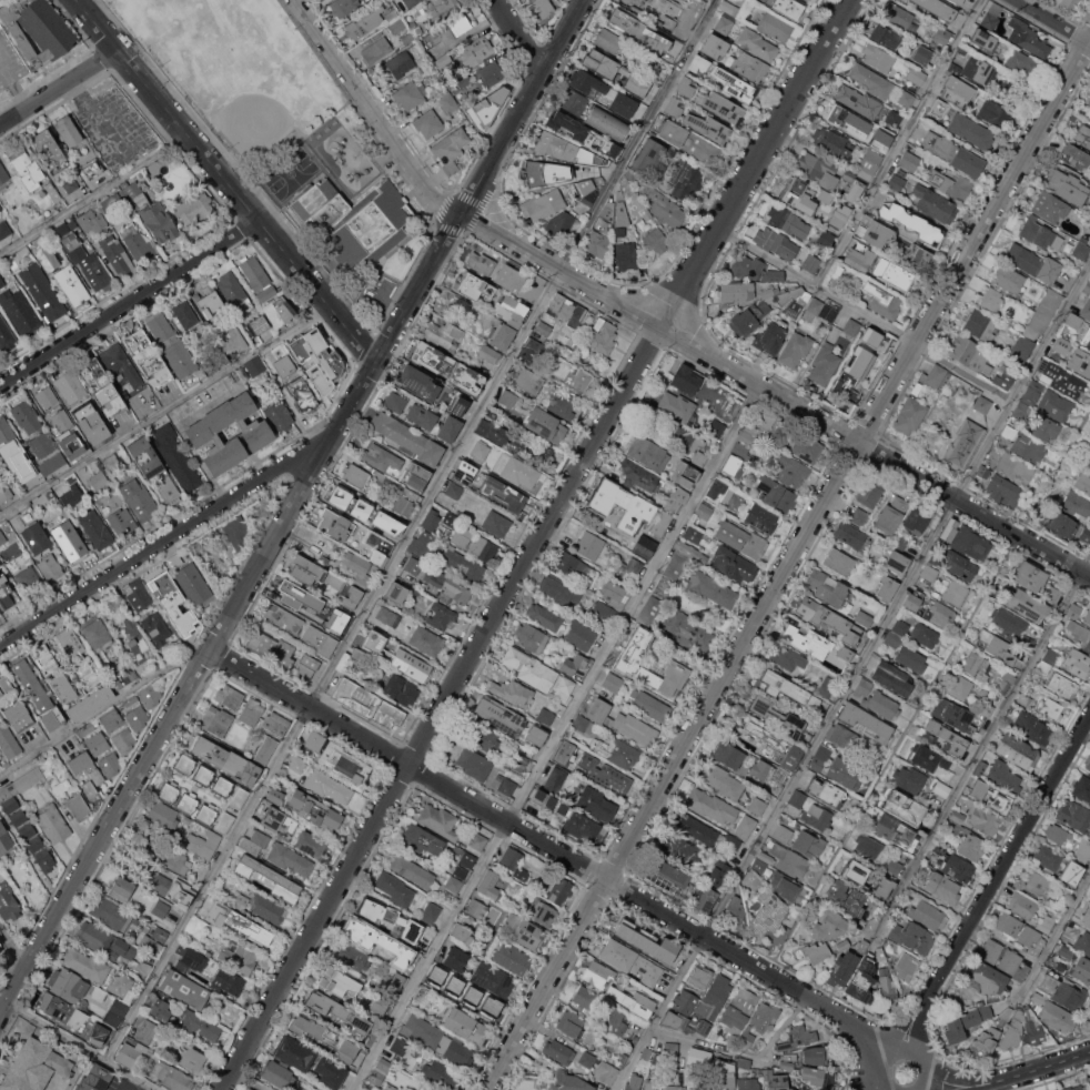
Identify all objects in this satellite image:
building: (373, 0)
building: (957, 1)
building: (410, 2)
building: (1068, 3)
building: (343, 7)
building: (542, 7)
building: (787, 7)
building: (435, 8)
building: (729, 8)
building: (937, 9)
building: (689, 10)
building: (392, 16)
building: (898, 16)
building: (667, 19)
building: (990, 20)
road: (1053, 20)
building: (364, 21)
building: (724, 23)
building: (774, 27)
building: (418, 29)
building: (36, 30)
building: (638, 30)
building: (401, 31)
building: (446, 31)
building: (941, 34)
road: (517, 36)
building: (885, 36)
building: (1028, 38)
building: (608, 40)
building: (983, 41)
building: (715, 42)
building: (757, 43)
building: (962, 50)
building: (374, 51)
building: (476, 51)
building: (921, 54)
building: (878, 58)
building: (444, 60)
building: (639, 60)
building: (1022, 62)
building: (600, 63)
building: (397, 64)
building: (663, 64)
building: (698, 64)
building: (748, 67)
building: (953, 68)
building: (979, 71)
building: (492, 73)
building: (916, 75)
building: (464, 80)
building: (870, 80)
building: (586, 83)
road: (16, 84)
building: (733, 84)
road: (59, 87)
building: (685, 87)
building: (635, 88)
building: (957, 91)
building: (411, 94)
building: (983, 94)
building: (906, 98)
building: (859, 101)
building: (448, 102)
building: (573, 102)
building: (623, 104)
road: (521, 105)
building: (673, 107)
building: (721, 107)
building: (485, 110)
building: (1088, 110)
road: (374, 111)
building: (997, 113)
building: (839, 117)
building: (894, 118)
building: (607, 122)
building: (428, 123)
building: (963, 125)
building: (708, 127)
building: (68, 130)
park: (292, 134)
building: (887, 135)
building: (1082, 135)
building: (588, 137)
building: (829, 141)
building: (688, 142)
road: (898, 143)
building: (879, 148)
building: (46, 149)
building: (451, 149)
building: (565, 149)
building: (610, 149)
building: (955, 153)
building: (1073, 154)
building: (649, 160)
building: (909, 161)
building: (870, 162)
building: (27, 169)
building: (91, 170)
building: (818, 170)
building: (571, 172)
building: (901, 172)
building: (3, 174)
building: (594, 174)
building: (548, 175)
building: (1089, 176)
road: (226, 178)
building: (685, 179)
building: (855, 180)
building: (896, 182)
building: (70, 184)
building: (950, 184)
building: (586, 186)
building: (1067, 186)
building: (52, 191)
road: (94, 194)
building: (825, 196)
building: (589, 198)
building: (796, 200)
building: (854, 200)
building: (634, 201)
building: (127, 202)
building: (931, 203)
building: (111, 204)
building: (543, 204)
building: (193, 206)
building: (1048, 206)
building: (0, 208)
building: (620, 209)
building: (665, 209)
building: (888, 209)
building: (608, 211)
building: (151, 212)
building: (837, 215)
building: (92, 221)
building: (354, 221)
building: (789, 222)
building: (559, 224)
building: (1089, 224)
building: (72, 225)
building: (829, 225)
building: (3, 230)
building: (921, 230)
building: (875, 231)
building: (1039, 233)
building: (826, 238)
building: (1082, 239)
building: (656, 240)
building: (776, 242)
building: (138, 243)
building: (596, 243)
building: (74, 249)
building: (1081, 251)
building: (115, 254)
building: (46, 255)
building: (625, 255)
building: (919, 256)
building: (859, 259)
building: (481, 262)
building: (810, 263)
building: (1033, 263)
building: (746, 266)
building: (887, 270)
building: (254, 273)
building: (97, 275)
building: (773, 275)
building: (509, 277)
building: (1008, 279)
building: (1, 282)
road: (417, 284)
building: (71, 285)
building: (472, 285)
building: (1087, 286)
building: (42, 291)
building: (736, 291)
building: (768, 292)
building: (234, 293)
building: (265, 293)
building: (788, 295)
building: (805, 295)
building: (991, 299)
building: (208, 300)
road: (130, 302)
building: (1049, 303)
building: (885, 304)
building: (814, 307)
building: (566, 309)
building: (793, 309)
building: (282, 310)
building: (1086, 310)
building: (511, 311)
building: (20, 312)
building: (828, 313)
building: (183, 314)
road: (866, 314)
building: (748, 319)
building: (1072, 321)
building: (259, 324)
building: (979, 325)
building: (1035, 325)
building: (543, 327)
building: (850, 327)
building: (442, 334)
building: (502, 335)
building: (6, 336)
building: (603, 336)
building: (870, 337)
building: (1087, 337)
building: (768, 339)
building: (137, 341)
building: (234, 341)
building: (171, 344)
building: (1061, 345)
building: (795, 349)
building: (1020, 350)
building: (567, 351)
building: (533, 352)
building: (275, 353)
building: (487, 353)
building: (579, 353)
building: (593, 354)
building: (970, 354)
building: (223, 357)
building: (317, 360)
building: (435, 360)
building: (477, 362)
building: (1081, 363)
building: (120, 364)
building: (824, 364)
building: (254, 365)
building: (290, 369)
building: (155, 371)
building: (852, 372)
building: (568, 373)
building: (243, 374)
building: (936, 375)
building: (1003, 376)
building: (119, 379)
building: (475, 379)
building: (687, 379)
building: (1061, 380)
building: (528, 381)
building: (420, 382)
building: (71, 386)
building: (917, 387)
building: (102, 388)
road: (775, 393)
building: (1031, 393)
building: (302, 394)
building: (47, 397)
building: (507, 398)
building: (395, 401)
building: (723, 401)
building: (461, 404)
building: (982, 404)
building: (563, 405)
building: (1053, 405)
building: (676, 406)
building: (1022, 410)
road: (164, 411)
building: (492, 414)
building: (909, 415)
building: (26, 416)
building: (279, 416)
building: (421, 416)
building: (761, 418)
building: (61, 420)
building: (90, 422)
building: (543, 424)
building: (940, 424)
road: (176, 425)
building: (716, 427)
building: (1044, 427)
building: (448, 428)
building: (750, 430)
building: (6, 431)
building: (493, 432)
building: (1009, 432)
building: (1026, 432)
building: (255, 434)
building: (779, 436)
building: (407, 437)
building: (746, 437)
building: (522, 438)
building: (965, 442)
building: (687, 443)
building: (42, 444)
building: (72, 445)
building: (806, 447)
building: (1028, 447)
building: (480, 451)
building: (648, 452)
building: (743, 453)
building: (542, 454)
building: (175, 457)
building: (381, 457)
building: (1088, 460)
building: (111, 462)
building: (52, 464)
building: (988, 464)
building: (733, 465)
building: (153, 467)
building: (1015, 467)
building: (791, 471)
building: (983, 471)
building: (463, 473)
building: (519, 473)
building: (684, 473)
building: (36, 474)
building: (355, 475)
building: (636, 475)
building: (415, 476)
building: (99, 477)
building: (1083, 481)
building: (59, 485)
building: (393, 485)
building: (738, 485)
building: (1002, 490)
building: (453, 491)
building: (717, 492)
building: (4, 493)
building: (501, 493)
building: (868, 493)
building: (775, 494)
building: (71, 495)
building: (622, 498)
building: (111, 499)
building: (139, 499)
building: (675, 499)
building: (1076, 503)
building: (403, 505)
building: (364, 509)
building: (703, 511)
building: (62, 514)
building: (890, 515)
building: (254, 516)
building: (859, 516)
building: (760, 518)
building: (917, 518)
building: (431, 519)
building: (451, 519)
building: (122, 522)
building: (496, 523)
building: (662, 523)
building: (335, 524)
building: (1062, 525)
building: (95, 529)
road: (408, 529)
building: (949, 529)
building: (236, 532)
building: (693, 534)
building: (1086, 534)
building: (851, 535)
building: (36, 537)
building: (462, 537)
building: (2, 538)
building: (218, 538)
building: (740, 538)
building: (898, 542)
building: (421, 543)
building: (970, 543)
building: (68, 544)
road: (533, 544)
road: (153, 545)
building: (588, 545)
building: (483, 548)
building: (687, 549)
building: (379, 557)
building: (174, 559)
building: (897, 559)
building: (936, 559)
building: (568, 562)
building: (839, 562)
road: (785, 563)
building: (464, 564)
building: (675, 564)
building: (733, 564)
building: (413, 565)
building: (633, 565)
building: (960, 565)
building: (50, 566)
building: (357, 568)
building: (306, 569)
building: (929, 573)
building: (1029, 576)
building: (29, 579)
building: (193, 583)
building: (665, 584)
building: (448, 587)
building: (826, 587)
building: (559, 588)
building: (710, 588)
building: (886, 588)
building: (7, 592)
building: (417, 592)
building: (396, 593)
building: (659, 593)
building: (955, 593)
building: (615, 594)
building: (1051, 594)
building: (139, 595)
building: (350, 596)
building: (299, 599)
building: (914, 599)
building: (172, 603)
building: (1026, 604)
building: (650, 609)
building: (607, 610)
building: (1074, 610)
building: (1089, 610)
building: (0, 613)
building: (940, 614)
building: (441, 615)
building: (387, 616)
building: (544, 616)
building: (283, 617)
building: (826, 618)
building: (864, 618)
building: (335, 619)
building: (1088, 620)
building: (1008, 622)
building: (899, 627)
building: (155, 628)
building: (687, 629)
building: (95, 634)
building: (370, 634)
building: (925, 634)
building: (1079, 634)
building: (579, 635)
building: (531, 637)
building: (892, 639)
building: (319, 640)
building: (426, 640)
building: (807, 640)
building: (70, 642)
building: (1027, 642)
building: (139, 644)
building: (376, 646)
building: (637, 646)
building: (992, 647)
building: (272, 648)
building: (845, 653)
building: (357, 655)
building: (1051, 656)
building: (788, 657)
building: (910, 657)
building: (44, 658)
building: (628, 662)
building: (574, 663)
building: (1077, 663)
building: (411, 664)
building: (306, 666)
building: (1043, 666)
building: (980, 667)
building: (529, 668)
building: (89, 670)
building: (132, 674)
road: (849, 677)
building: (891, 677)
road: (186, 679)
building: (1006, 680)
building: (663, 682)
building: (117, 683)
building: (610, 683)
building: (6, 684)
building: (959, 686)
building: (1063, 686)
building: (62, 687)
building: (564, 687)
building: (826, 687)
building: (400, 689)
building: (787, 690)
road: (928, 690)
building: (512, 692)
building: (1, 694)
building: (38, 695)
building: (150, 696)
building: (230, 696)
park: (927, 698)
building: (876, 699)
building: (1026, 699)
building: (130, 700)
building: (90, 703)
building: (366, 703)
building: (649, 705)
road: (101, 707)
building: (986, 708)
building: (1051, 708)
building: (251, 711)
building: (18, 715)
building: (498, 715)
building: (545, 715)
building: (774, 715)
building: (952, 715)
building: (138, 717)
building: (112, 720)
building: (216, 720)
building: (275, 723)
building: (622, 723)
building: (866, 723)
building: (583, 724)
building: (1031, 727)
building: (838, 734)
building: (536, 735)
road: (554, 736)
building: (942, 737)
building: (484, 738)
building: (93, 739)
building: (311, 739)
building: (124, 740)
building: (9, 743)
building: (203, 744)
building: (454, 744)
road: (983, 744)
building: (778, 748)
building: (265, 749)
building: (564, 751)
building: (618, 751)
building: (1018, 751)
building: (727, 754)
building: (927, 757)
building: (41, 758)
building: (820, 758)
building: (518, 761)
building: (1088, 761)
building: (110, 764)
building: (184, 764)
building: (297, 764)
building: (340, 764)
building: (6, 765)
building: (476, 765)
building: (44, 766)
building: (980, 768)
building: (760, 769)
building: (87, 771)
building: (241, 771)
building: (605, 773)
building: (845, 773)
building: (203, 775)
building: (1003, 776)
building: (27, 779)
building: (279, 779)
building: (555, 779)
building: (910, 779)
building: (723, 780)
building: (222, 786)
building: (327, 786)
building: (506, 786)
building: (1082, 788)
building: (941, 789)
building: (169, 791)
building: (826, 791)
building: (275, 796)
building: (299, 796)
building: (991, 796)
building: (8, 797)
building: (239, 797)
building: (797, 799)
building: (595, 803)
building: (710, 805)
building: (757, 806)
building: (79, 807)
building: (904, 807)
building: (196, 808)
building: (327, 815)
building: (163, 816)
building: (568, 816)
building: (1074, 816)
building: (18, 817)
building: (819, 817)
building: (957, 817)
building: (983, 818)
building: (277, 819)
building: (185, 820)
building: (438, 821)
building: (224, 822)
building: (53, 824)
building: (745, 826)
building: (696, 828)
building: (955, 828)
building: (27, 831)
building: (894, 831)
building: (1056, 832)
building: (783, 834)
building: (421, 839)
building: (477, 840)
building: (254, 841)
building: (731, 842)
building: (34, 844)
building: (202, 844)
building: (310, 844)
building: (808, 844)
building: (868, 846)
road: (548, 847)
building: (971, 847)
building: (939, 849)
building: (682, 850)
building: (10, 851)
building: (1082, 851)
building: (465, 857)
building: (766, 857)
building: (1048, 858)
building: (44, 859)
building: (290, 859)
building: (175, 860)
building: (789, 860)
building: (513, 862)
building: (759, 865)
building: (894, 867)
building: (957, 868)
building: (411, 870)
building: (716, 872)
building: (857, 872)
building: (1070, 872)
building: (666, 877)
building: (269, 878)
building: (756, 880)
road: (998, 880)
building: (1037, 882)
building: (453, 884)
road: (907, 884)
building: (785, 885)
building: (882, 887)
building: (942, 887)
building: (394, 888)
building: (121, 889)
building: (175, 889)
building: (559, 890)
building: (1063, 890)
building: (484, 895)
building: (848, 897)
building: (704, 898)
building: (8, 901)
building: (241, 901)
building: (1022, 905)
building: (269, 908)
building: (161, 909)
building: (377, 911)
building: (542, 911)
building: (110, 912)
building: (430, 912)
building: (734, 912)
building: (768, 912)
building: (928, 915)
building: (491, 916)
building: (1086, 917)
building: (1047, 921)
building: (236, 922)
building: (829, 925)
building: (1010, 925)
building: (157, 931)
building: (398, 931)
building: (523, 931)
building: (461, 933)
building: (636, 933)
building: (363, 935)
building: (420, 935)
building: (912, 937)
building: (1031, 939)
building: (104, 941)
building: (148, 942)
building: (1083, 942)
building: (842, 945)
building: (862, 946)
building: (894, 947)
road: (1048, 947)
building: (990, 950)
building: (0, 951)
building: (1066, 951)
building: (816, 952)
building: (349, 955)
building: (190, 958)
building: (455, 958)
building: (511, 958)
building: (672, 958)
building: (240, 959)
building: (629, 962)
building: (1059, 962)
building: (407, 963)
building: (87, 965)
building: (1013, 965)
building: (906, 966)
building: (841, 968)
building: (1081, 969)
building: (435, 975)
building: (596, 975)
building: (699, 977)
building: (986, 977)
building: (885, 978)
building: (493, 979)
building: (861, 979)
building: (228, 981)
building: (337, 982)
building: (65, 985)
building: (121, 986)
building: (394, 986)
building: (453, 986)
building: (184, 989)
building: (1062, 992)
building: (422, 995)
building: (471, 996)
building: (715, 997)
building: (586, 998)
building: (1037, 1000)
building: (633, 1001)
building: (979, 1003)
building: (379, 1005)
building: (488, 1007)
building: (119, 1008)
building: (161, 1009)
building: (62, 1010)
building: (680, 1010)
building: (738, 1010)
building: (144, 1011)
building: (336, 1012)
building: (1007, 1012)
building: (765, 1016)
building: (1057, 1017)
building: (614, 1019)
building: (569, 1022)
building: (963, 1023)
building: (198, 1025)
building: (698, 1025)
building: (466, 1026)
building: (1032, 1026)
park: (1083, 1028)
building: (1012, 1030)
building: (147, 1031)
building: (97, 1035)
building: (324, 1037)
building: (746, 1037)
building: (797, 1037)
building: (438, 1040)
building: (983, 1042)
road: (79, 1044)
building: (400, 1046)
building: (289, 1047)
road: (906, 1047)
road: (1087, 1049)
building: (672, 1050)
building: (558, 1051)
road: (743, 1052)
building: (646, 1053)
building: (128, 1054)
building: (817, 1056)
building: (790, 1057)
building: (190, 1058)
building: (587, 1058)
building: (657, 1058)
building: (622, 1059)
building: (720, 1059)
building: (744, 1062)
building: (406, 1066)
building: (789, 1066)
building: (34, 1067)
building: (330, 1071)
building: (383, 1071)
building: (607, 1072)
park: (906, 1072)
building: (277, 1073)
building: (440, 1074)
building: (810, 1076)
road: (1011, 1077)
building: (95, 1078)
building: (174, 1079)
road: (249, 1080)
building: (559, 1080)
building: (828, 1080)
building: (775, 1081)
building: (634, 1082)
building: (652, 1083)
building: (747, 1083)
building: (1088, 1083)
building: (388, 1087)
building: (672, 1087)
building: (723, 1087)
building: (1073, 1087)
building: (248, 1088)
building: (367, 1089)
building: (374, 1089)
building: (425, 1089)
building: (800, 1089)
building: (1056, 1089)

